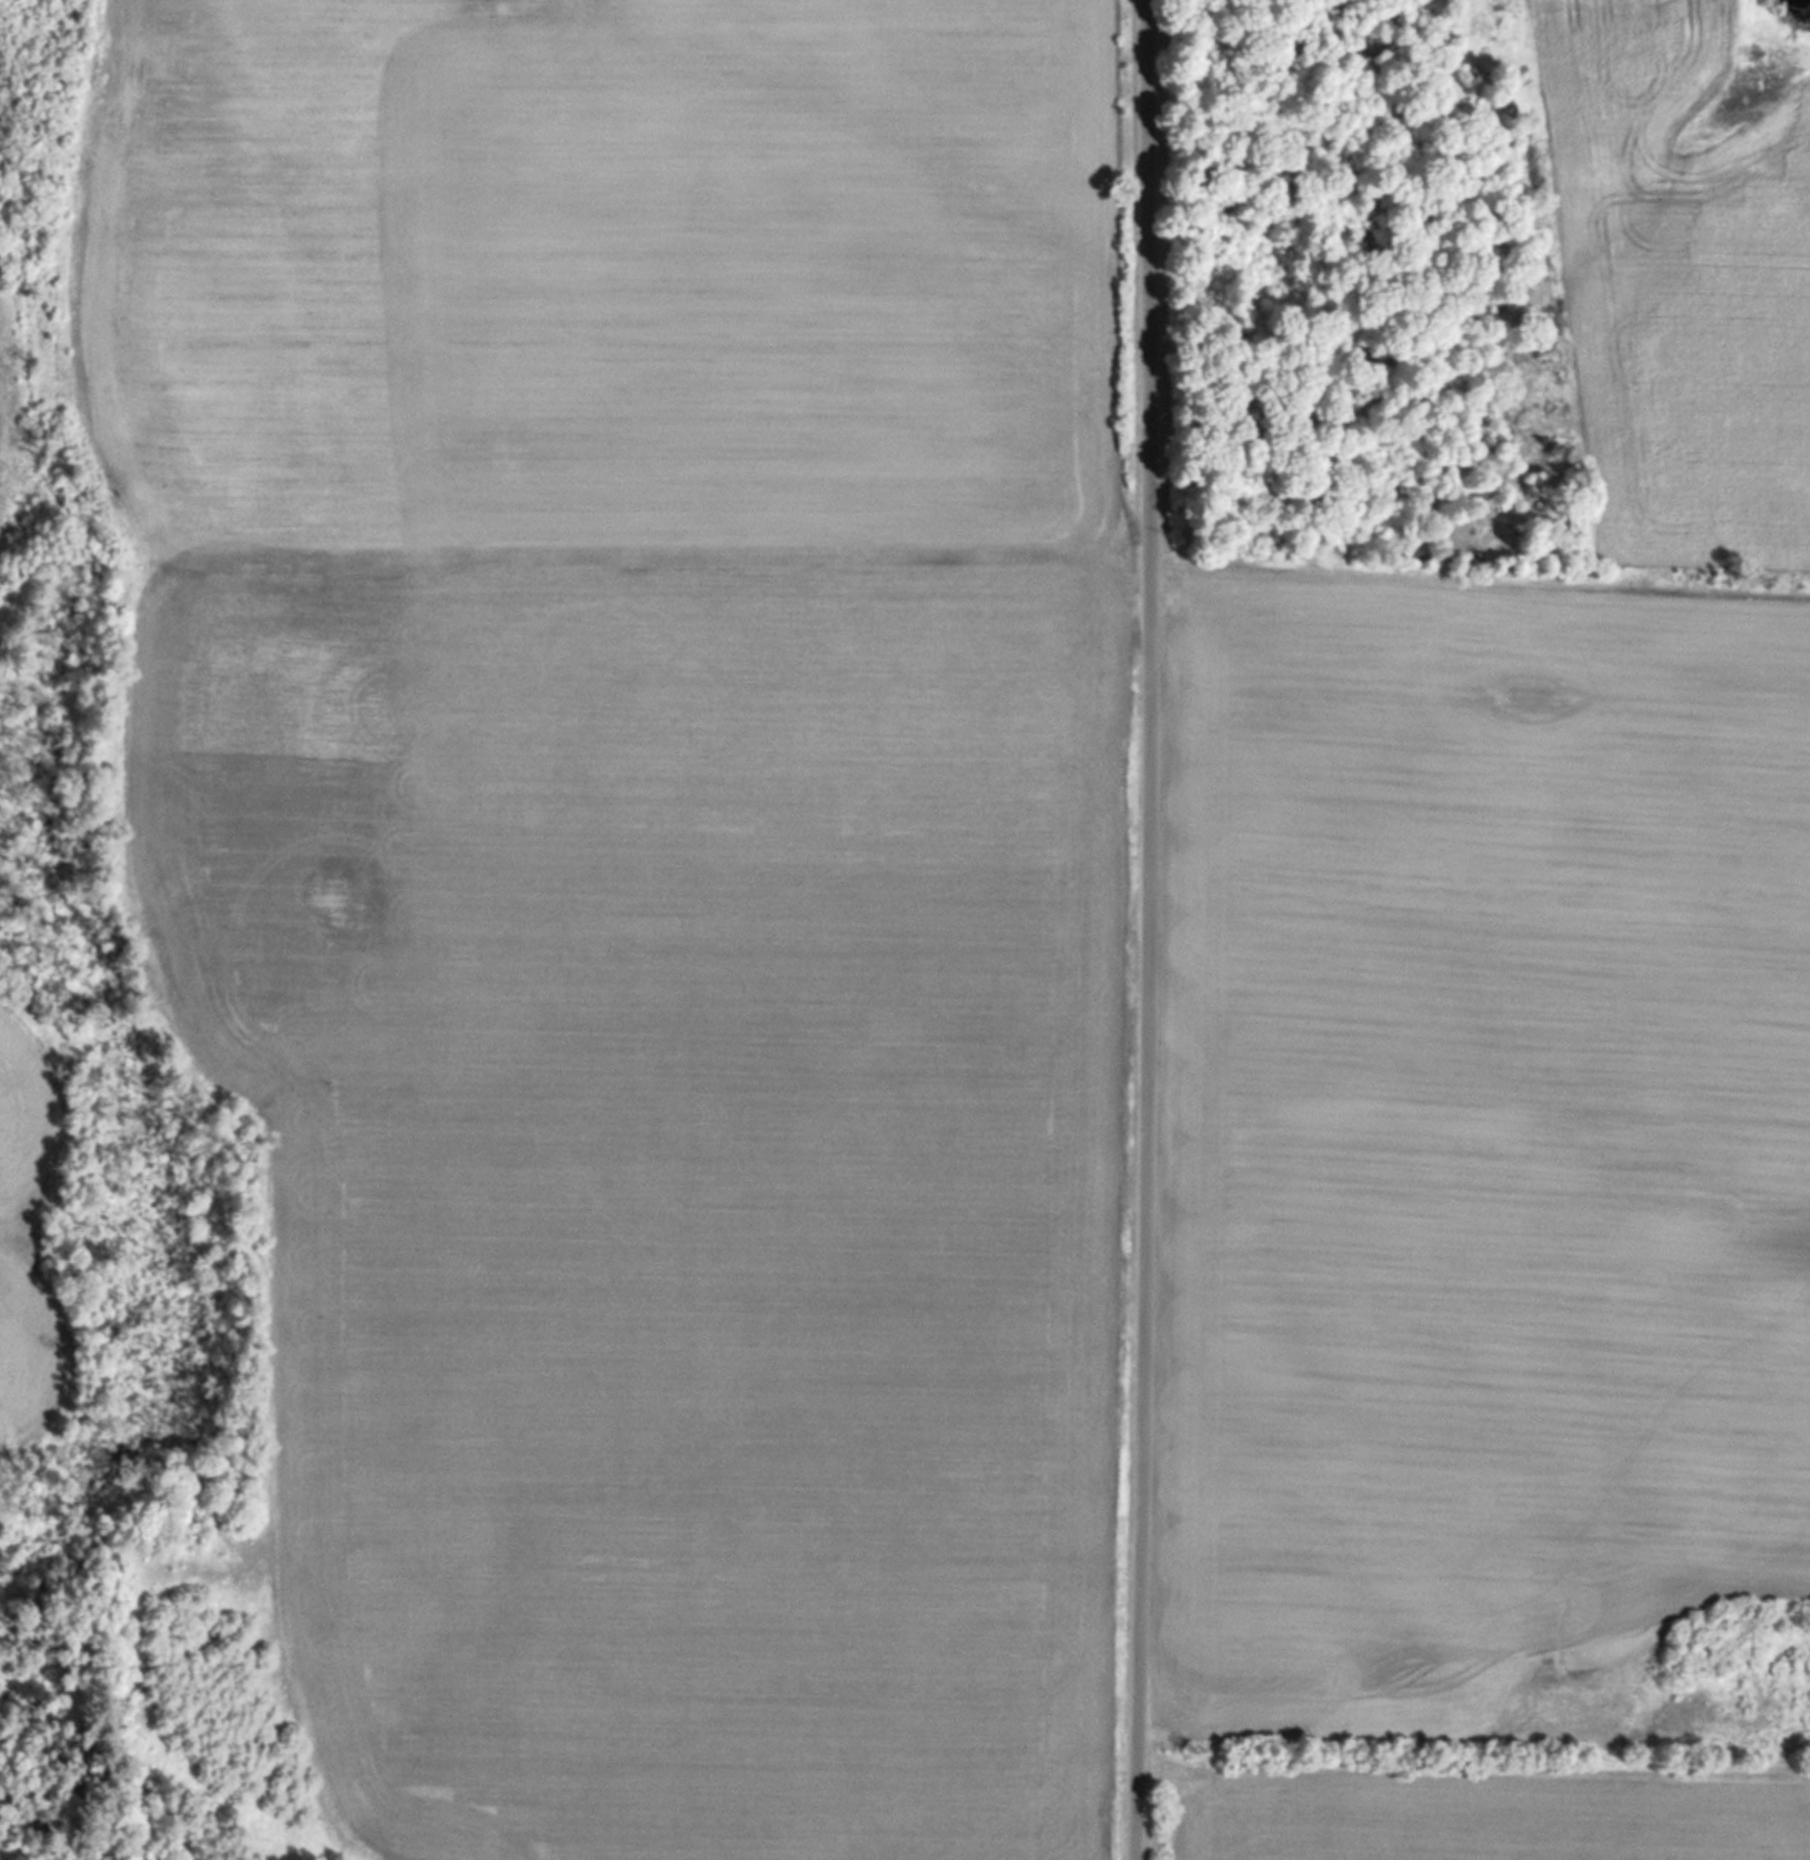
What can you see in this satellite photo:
road: (1150, 929)

